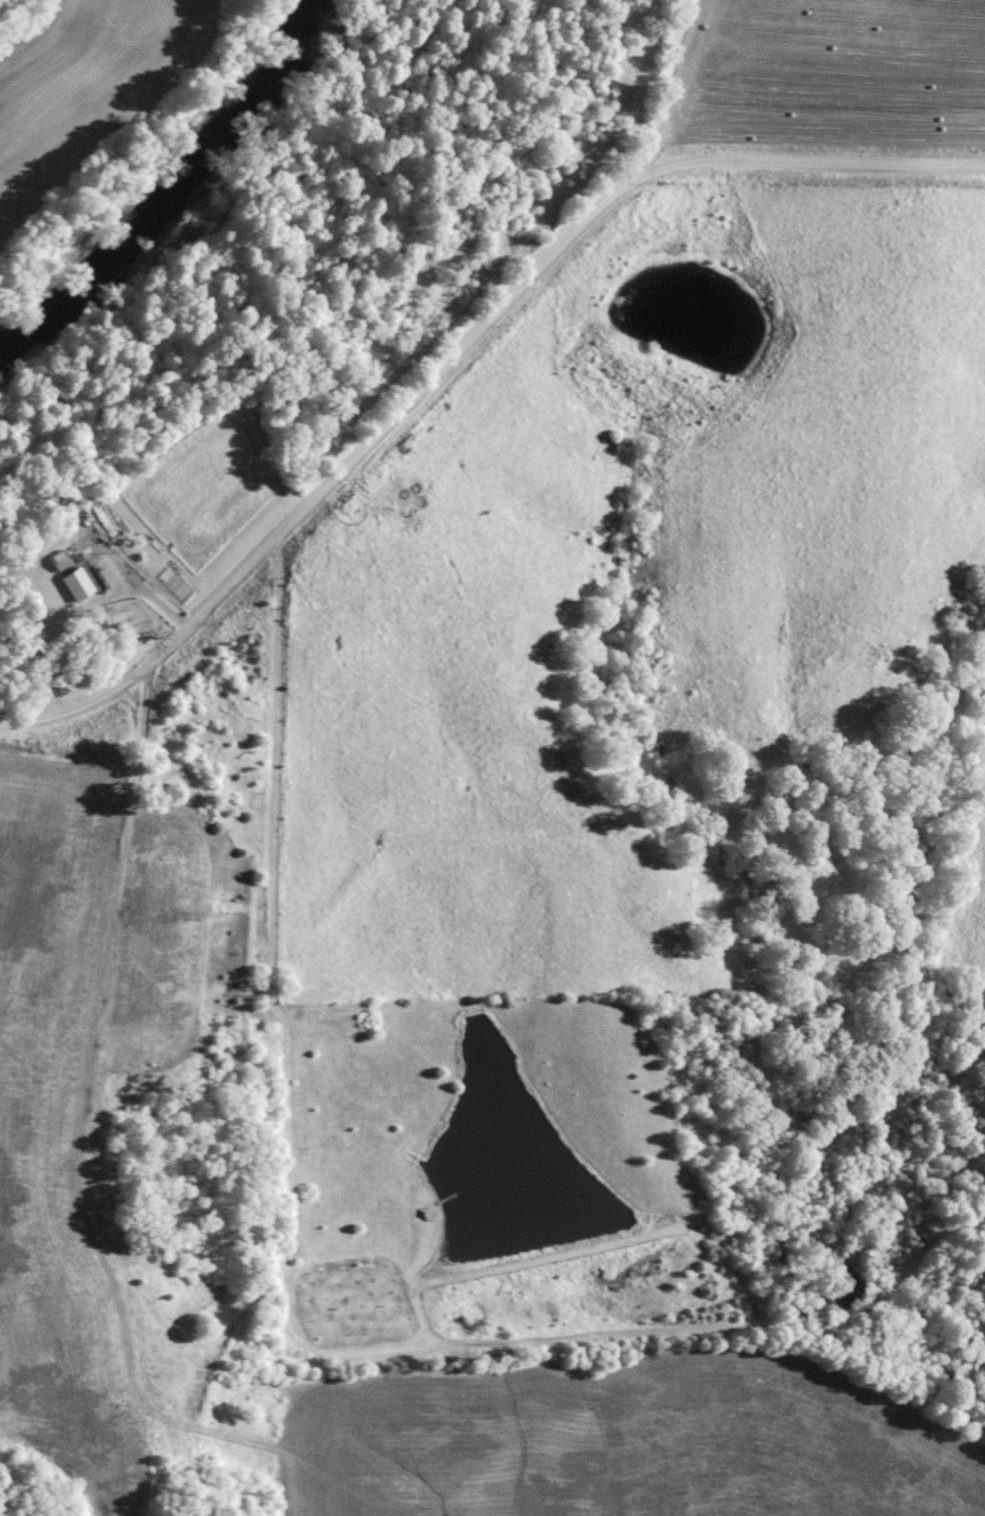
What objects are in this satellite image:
river: (163, 188)
road: (468, 387)
building: (106, 523)
building: (61, 559)
building: (77, 583)

